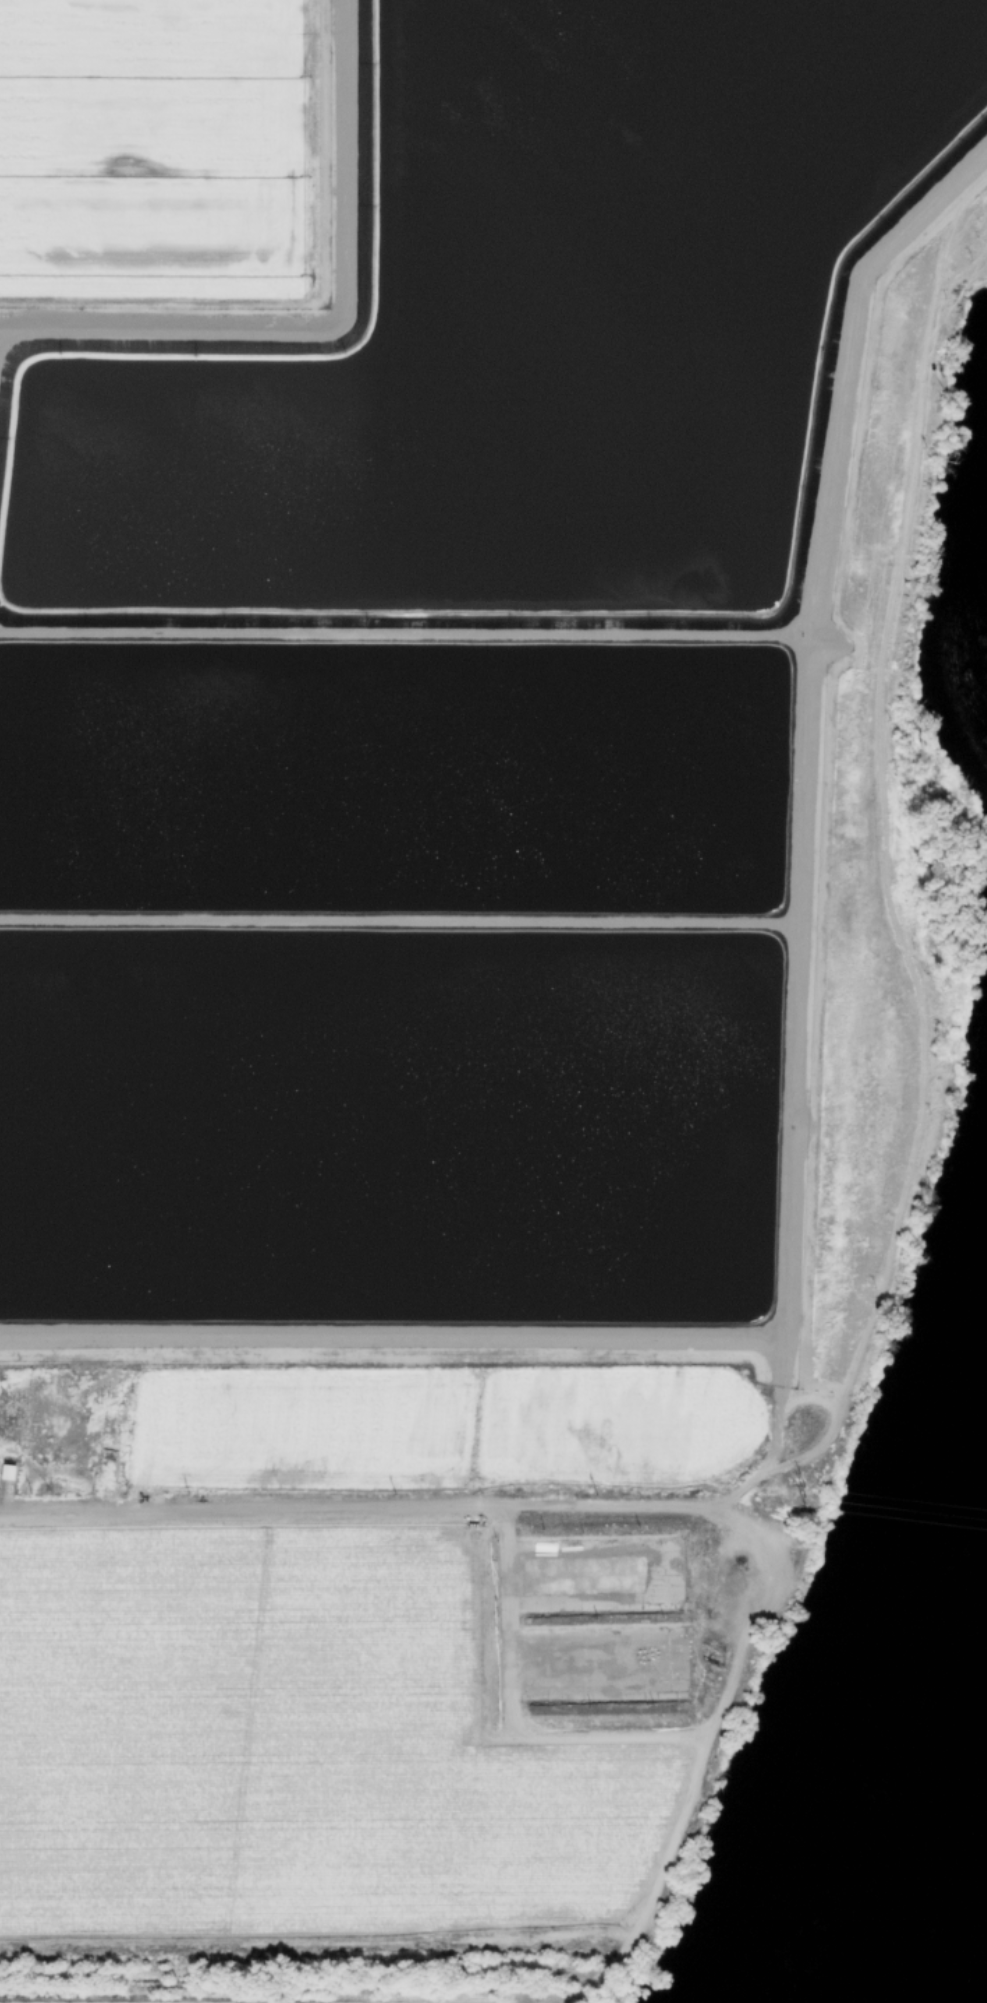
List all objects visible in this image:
road: (327, 323)
road: (822, 522)
road: (796, 625)
road: (383, 633)
road: (796, 644)
crop: (470, 732)
road: (881, 850)
road: (791, 913)
road: (379, 921)
road: (786, 929)
road: (576, 1338)
road: (779, 1393)
crop: (441, 1427)
building: (6, 1473)
road: (725, 1498)
road: (737, 1502)
road: (349, 1507)
road: (4, 1514)
road: (507, 1717)
crop: (285, 1739)
road: (706, 1745)
river: (972, 1962)
crop: (96, 1999)

